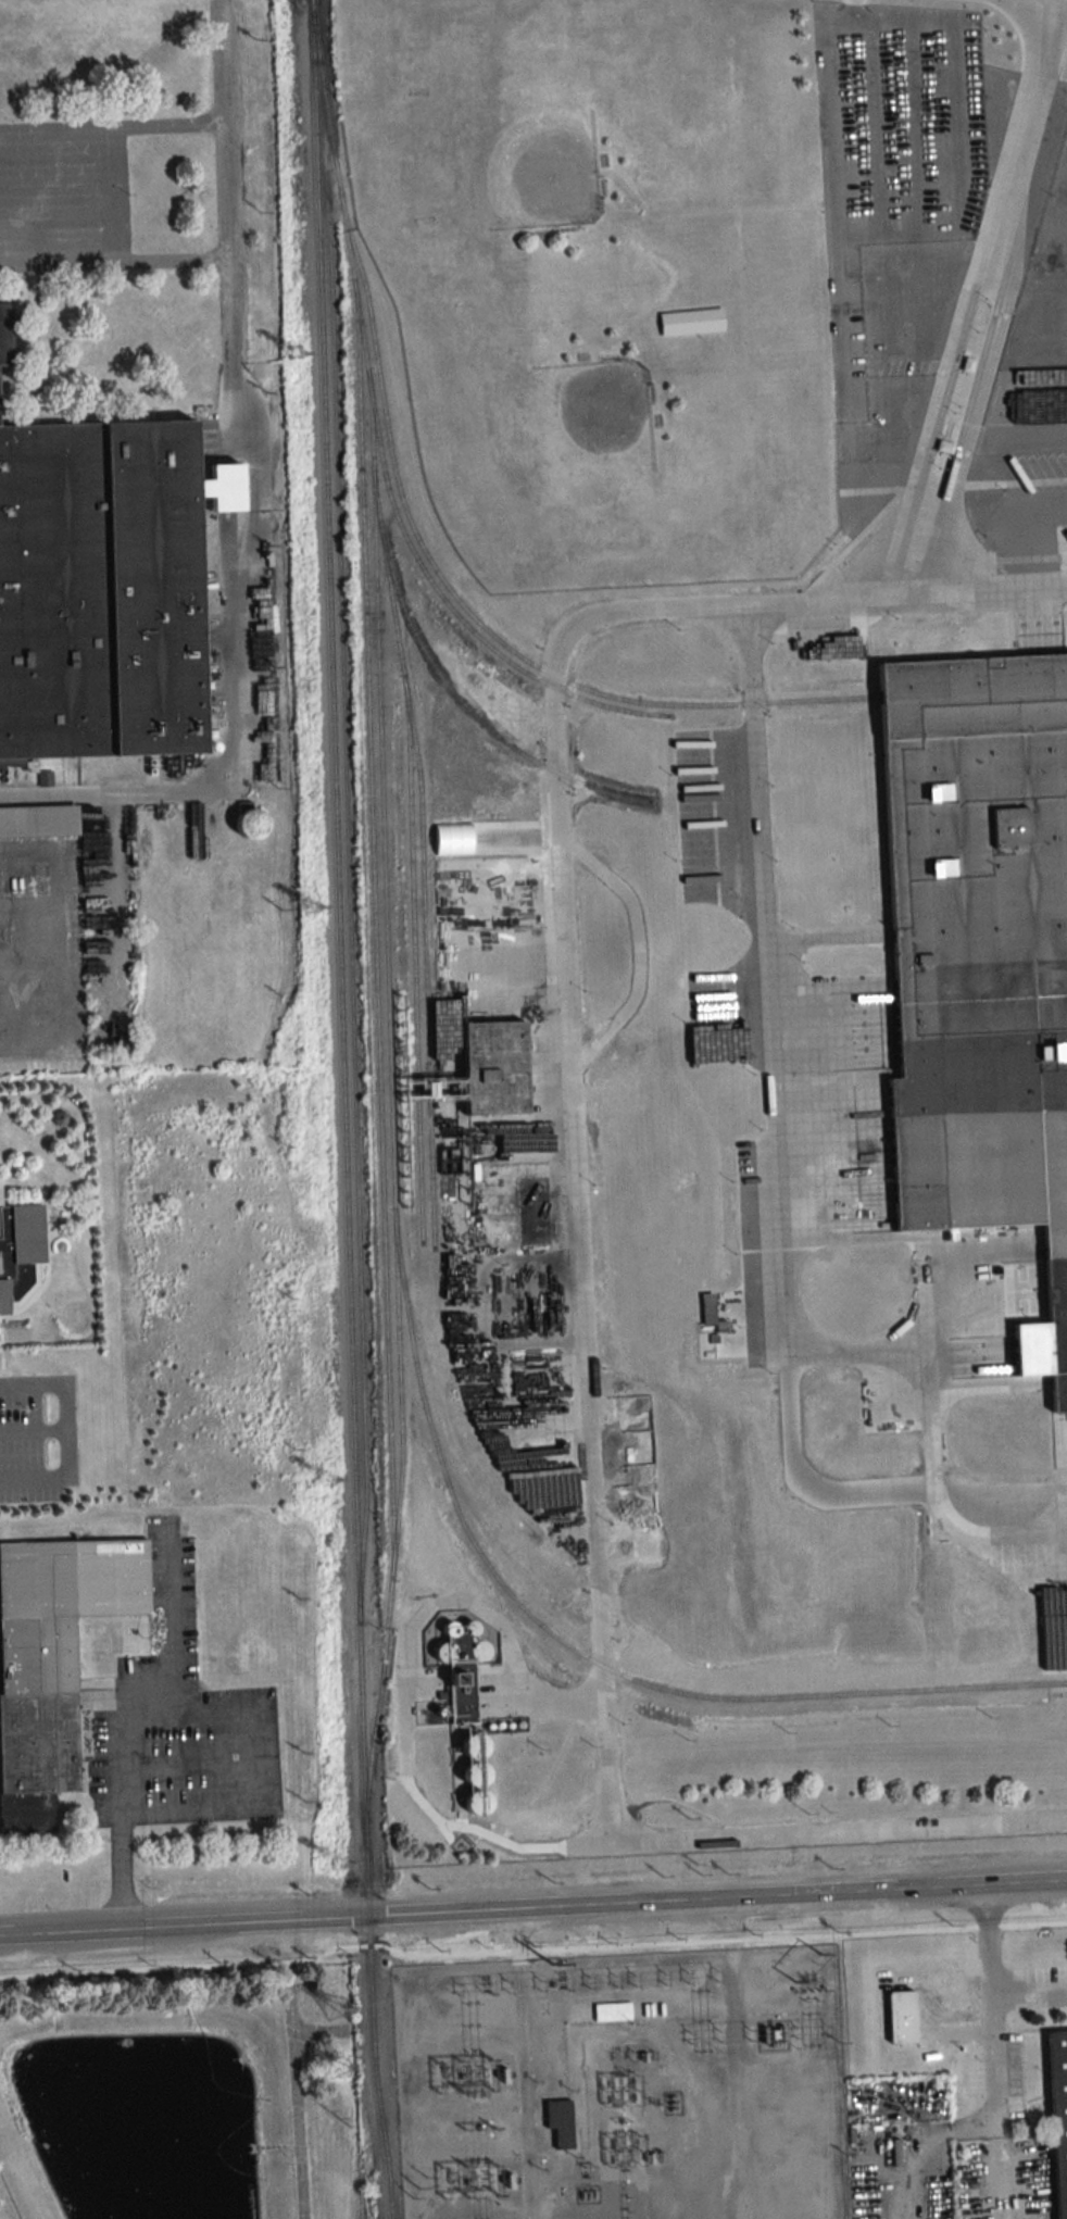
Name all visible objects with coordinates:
park: (465, 113)
road: (108, 129)
road: (229, 221)
road: (115, 262)
road: (838, 264)
road: (983, 292)
building: (692, 322)
building: (5, 336)
power tower: (297, 355)
park: (544, 473)
road: (984, 582)
building: (101, 591)
railway: (457, 617)
railway: (479, 624)
railway: (974, 690)
railway: (452, 692)
road: (244, 732)
railway: (380, 777)
building: (38, 823)
building: (252, 824)
railway: (349, 874)
railway: (412, 894)
power tower: (313, 908)
building: (980, 949)
railway: (424, 973)
railway: (340, 1027)
building: (497, 1069)
railway: (379, 1071)
road: (782, 1184)
building: (20, 1254)
road: (577, 1286)
railway: (405, 1288)
building: (970, 1430)
road: (65, 1431)
building: (636, 1475)
power tower: (329, 1483)
building: (944, 1563)
railway: (597, 1613)
road: (171, 1617)
building: (54, 1664)
railway: (601, 1675)
railway: (620, 1675)
road: (404, 1689)
railway: (1056, 1692)
road: (267, 1758)
road: (121, 1825)
power tower: (339, 1864)
road: (1004, 1886)
road: (551, 1908)
road: (729, 1925)
road: (80, 1933)
road: (518, 1934)
power tower: (551, 1964)
road: (990, 1991)
road: (1029, 2001)
power tower: (340, 2009)
building: (612, 2011)
building: (908, 2015)
power tower: (341, 2070)
road: (736, 2083)
power substation: (623, 2085)
road: (527, 2089)
building: (1058, 2118)
building: (558, 2120)
railway: (382, 2135)
building: (965, 2180)

